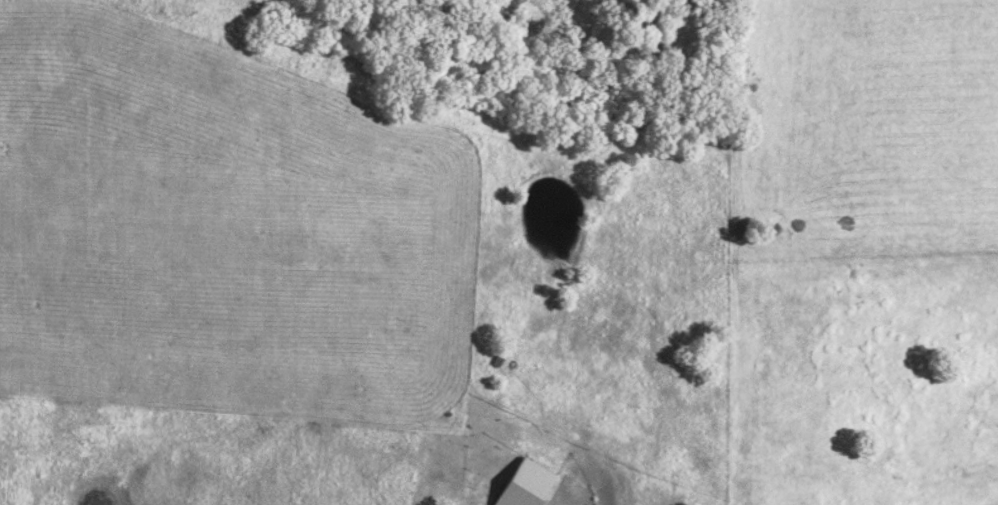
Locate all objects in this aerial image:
building: (524, 485)

